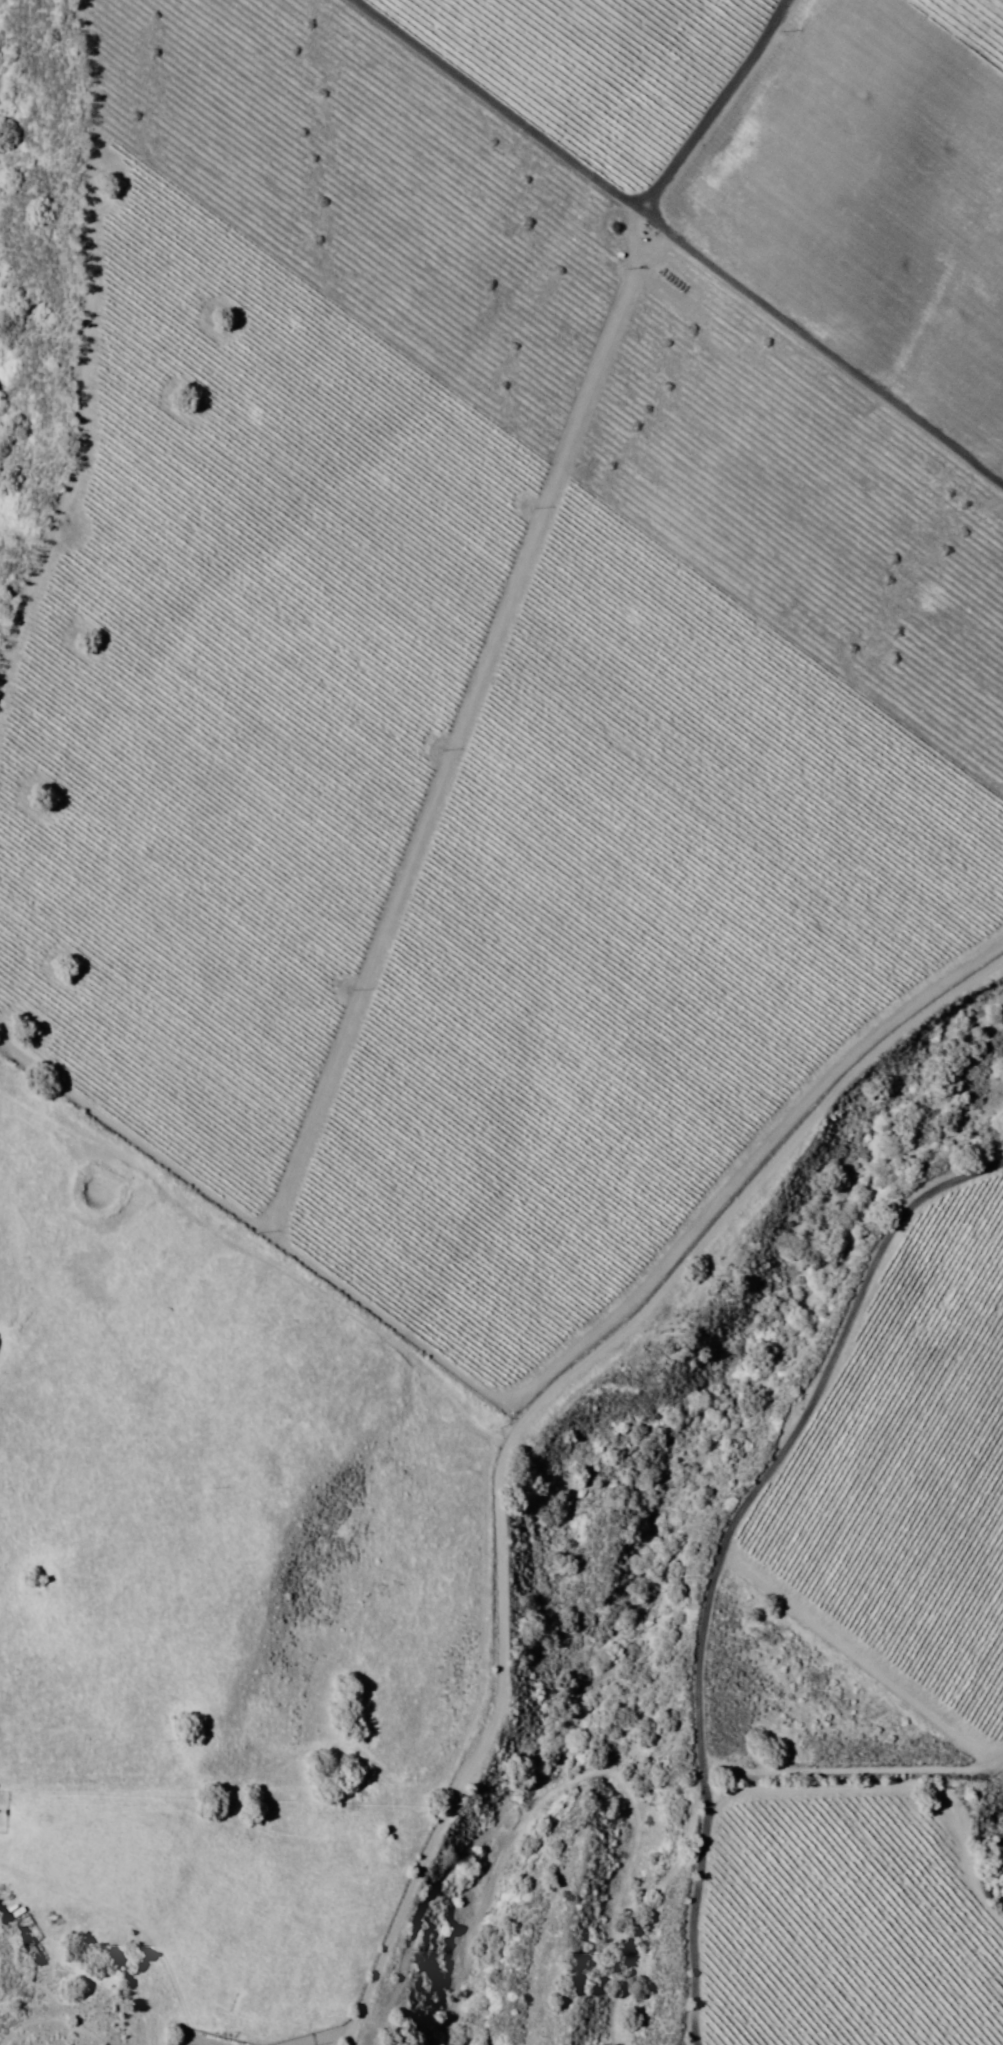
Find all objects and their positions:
crop: (513, 605)
building: (956, 875)
road: (493, 1433)
crop: (867, 1662)
road: (133, 1924)
building: (33, 1948)
road: (353, 2036)

